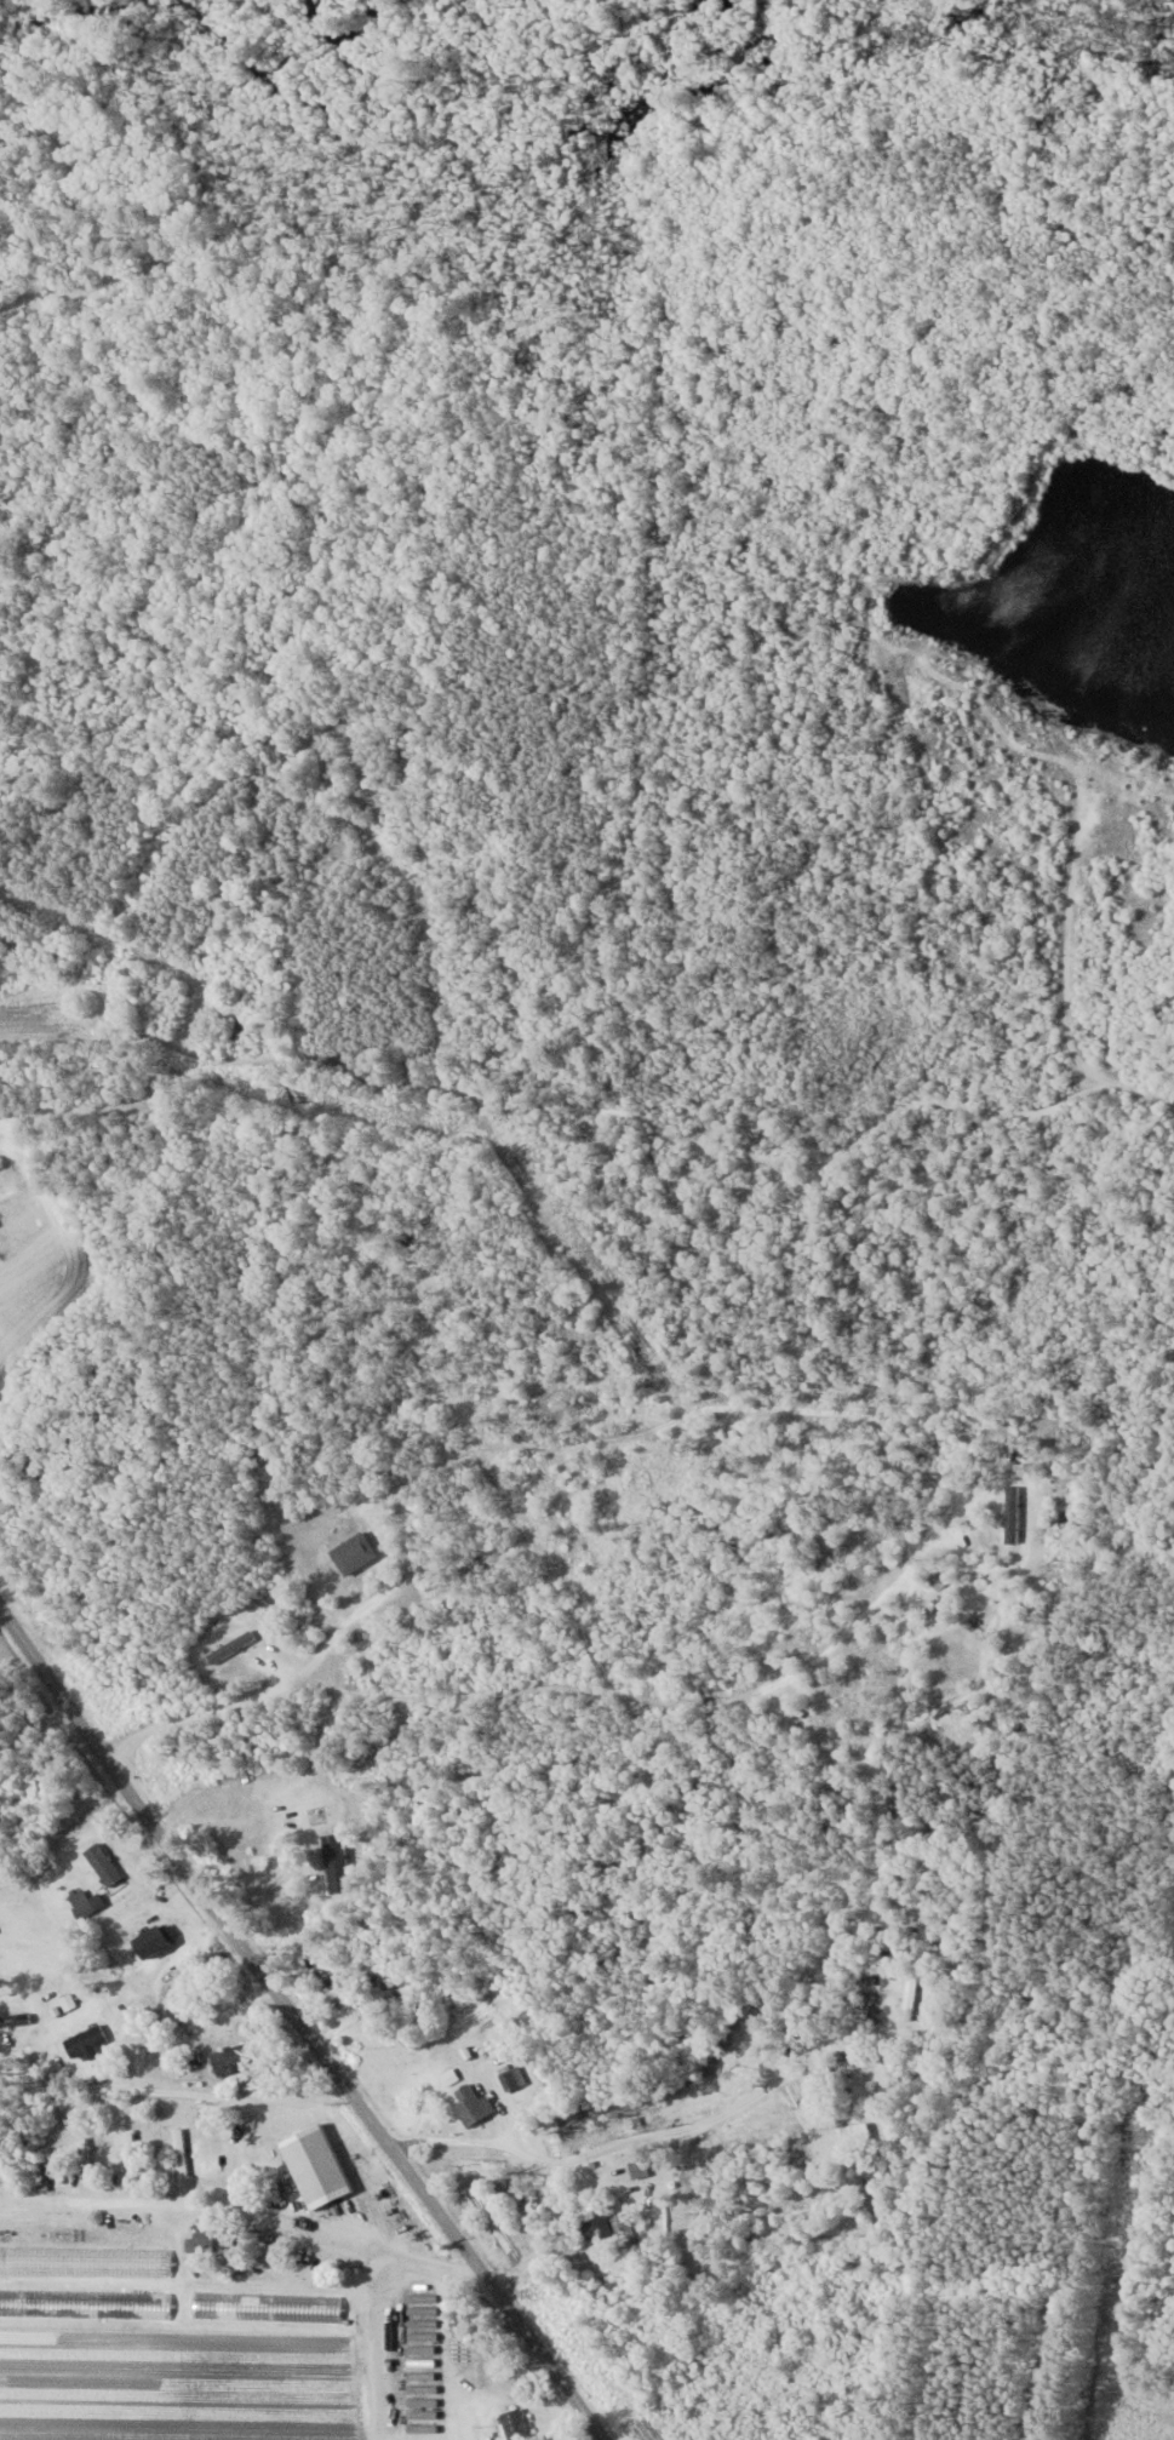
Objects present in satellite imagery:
power tower: (1159, 33)
road: (107, 722)
building: (242, 1014)
road: (596, 1089)
building: (354, 1553)
road: (333, 1631)
road: (515, 1689)
road: (887, 1748)
building: (337, 1862)
building: (103, 1863)
building: (88, 1907)
building: (154, 1941)
building: (383, 1965)
building: (15, 2020)
road: (299, 2023)
building: (86, 2043)
building: (231, 2058)
building: (512, 2078)
road: (176, 2087)
building: (473, 2104)
road: (691, 2129)
building: (847, 2135)
building: (181, 2153)
building: (316, 2165)
building: (640, 2167)
building: (622, 2223)
building: (596, 2226)
building: (199, 2241)
building: (85, 2262)
building: (85, 2304)
building: (267, 2307)
building: (400, 2401)
building: (515, 2425)

